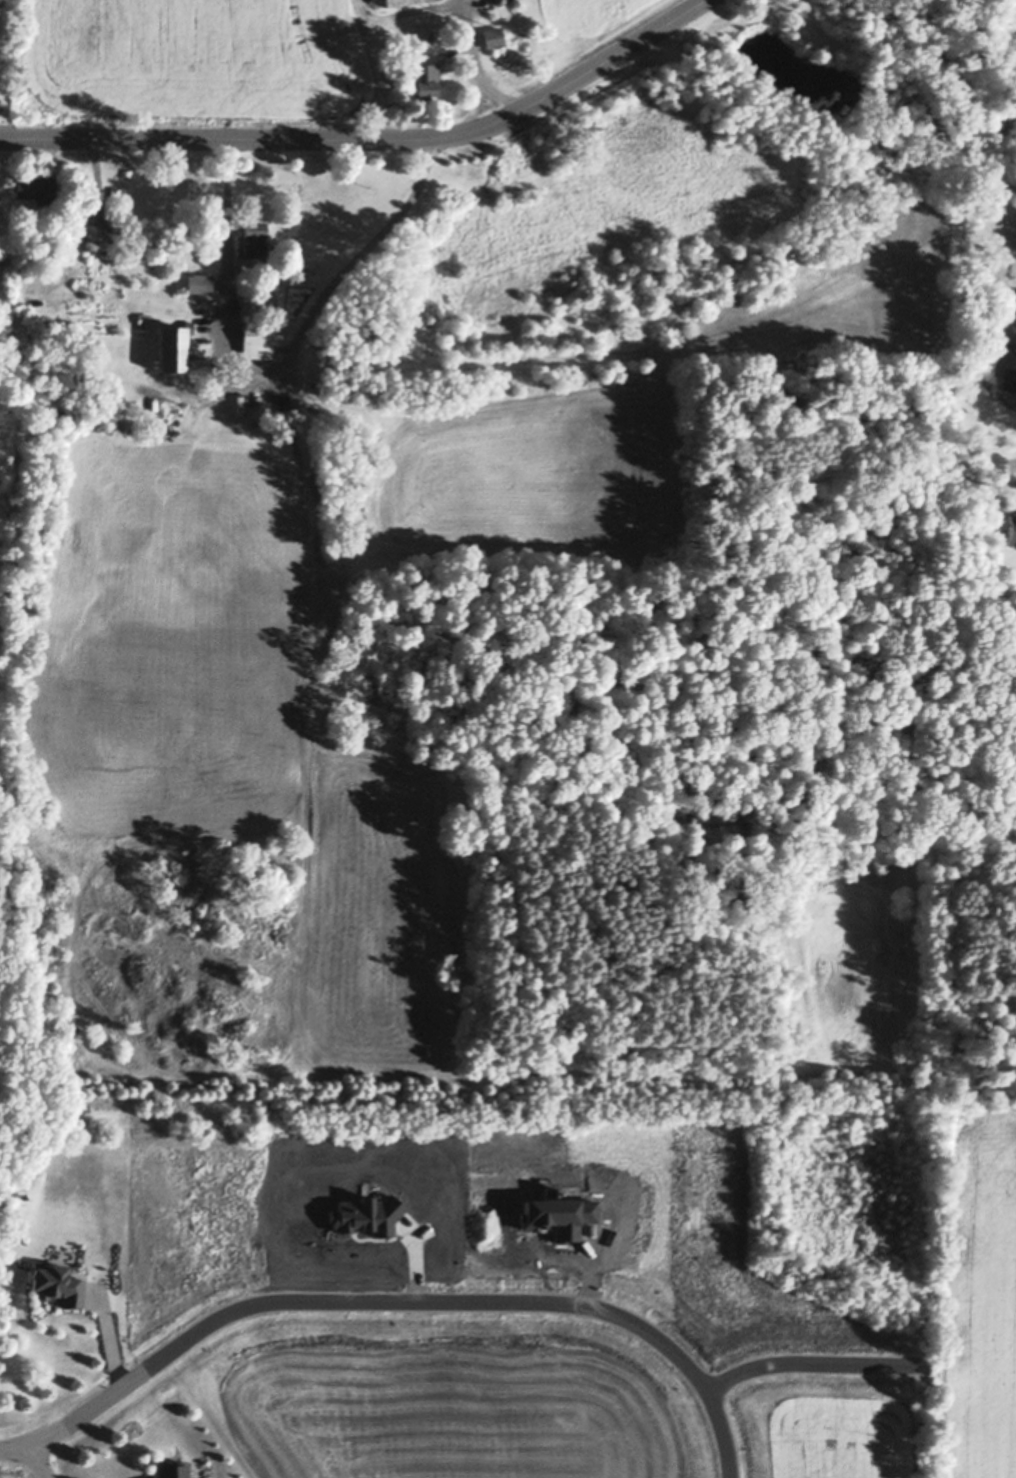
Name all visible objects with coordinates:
building: (392, 1)
building: (500, 2)
building: (494, 35)
road: (483, 62)
building: (424, 74)
road: (370, 140)
building: (37, 187)
building: (101, 235)
building: (252, 235)
building: (200, 281)
building: (264, 282)
building: (24, 307)
building: (144, 318)
building: (258, 339)
building: (179, 347)
road: (288, 374)
building: (249, 399)
building: (1012, 526)
building: (733, 838)
building: (57, 1284)
road: (400, 1302)
road: (38, 1462)

